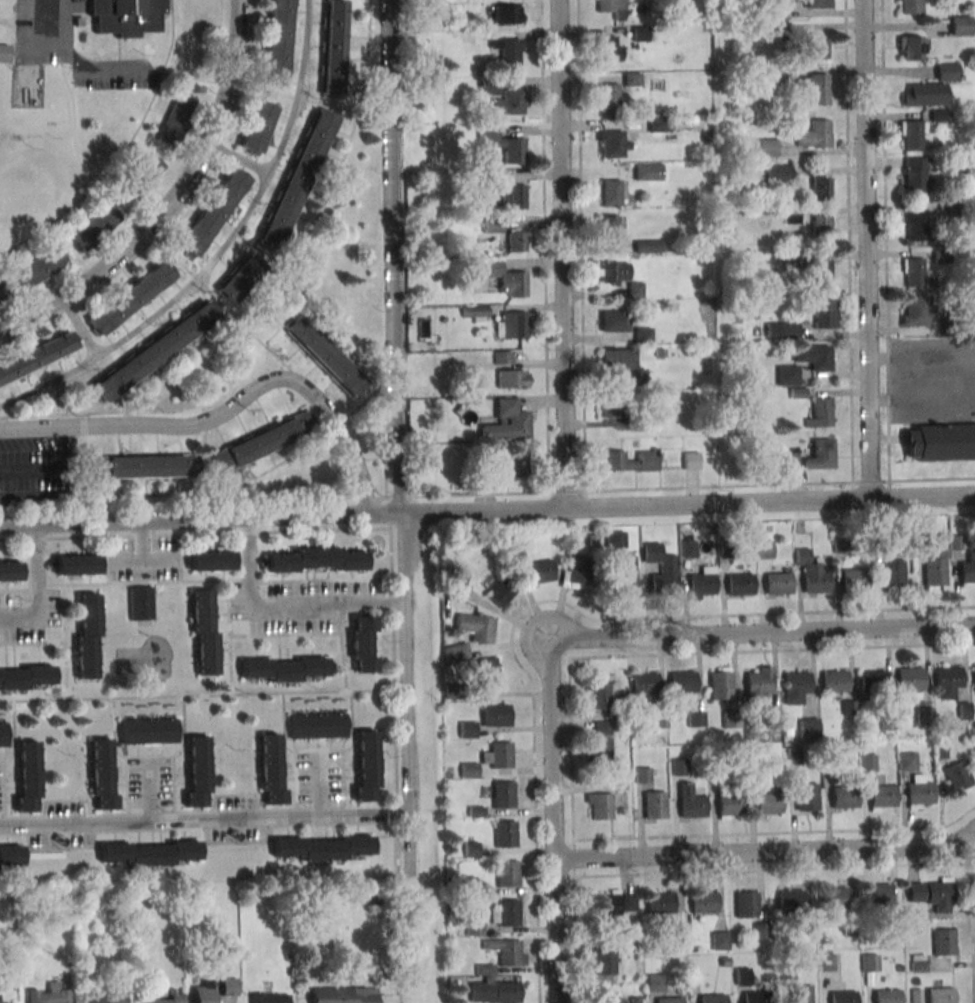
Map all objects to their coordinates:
building: (817, 4)
building: (610, 7)
building: (910, 7)
building: (507, 13)
building: (125, 16)
building: (960, 25)
building: (277, 42)
building: (608, 47)
building: (332, 48)
building: (910, 48)
building: (817, 49)
building: (4, 53)
building: (509, 53)
road: (76, 62)
building: (772, 76)
building: (931, 87)
building: (817, 92)
building: (609, 98)
building: (511, 101)
building: (176, 120)
building: (257, 127)
building: (818, 134)
building: (910, 135)
park: (52, 139)
building: (504, 144)
building: (612, 144)
building: (765, 147)
road: (237, 159)
building: (150, 168)
building: (647, 172)
building: (779, 172)
building: (912, 172)
building: (296, 179)
building: (820, 188)
building: (610, 192)
building: (513, 197)
road: (170, 201)
building: (213, 213)
building: (492, 224)
building: (95, 225)
building: (915, 228)
building: (609, 229)
building: (820, 230)
building: (518, 241)
building: (648, 246)
road: (867, 249)
road: (218, 251)
road: (563, 253)
building: (41, 266)
building: (913, 273)
building: (820, 274)
building: (509, 280)
building: (131, 297)
building: (0, 299)
building: (912, 310)
building: (476, 313)
building: (824, 315)
building: (614, 321)
building: (513, 324)
road: (83, 326)
building: (782, 330)
building: (643, 336)
building: (154, 354)
building: (324, 355)
building: (503, 357)
building: (812, 357)
road: (922, 358)
building: (38, 359)
building: (624, 365)
building: (787, 375)
building: (512, 379)
road: (922, 399)
road: (398, 406)
building: (612, 408)
road: (228, 411)
building: (821, 412)
building: (507, 422)
building: (264, 441)
building: (940, 444)
building: (821, 454)
building: (790, 460)
building: (628, 461)
building: (513, 464)
building: (145, 466)
road: (34, 474)
road: (672, 503)
road: (184, 518)
building: (615, 539)
building: (764, 549)
road: (143, 556)
building: (317, 560)
building: (211, 561)
road: (129, 562)
building: (78, 565)
building: (10, 571)
building: (540, 571)
building: (967, 572)
building: (579, 573)
building: (893, 573)
building: (934, 573)
building: (854, 580)
building: (625, 582)
building: (816, 582)
building: (778, 584)
building: (460, 585)
building: (663, 585)
building: (701, 585)
building: (740, 585)
road: (38, 588)
building: (500, 592)
building: (140, 602)
road: (283, 607)
road: (786, 613)
building: (476, 627)
building: (203, 632)
road: (763, 632)
building: (86, 636)
building: (362, 644)
road: (772, 650)
building: (456, 653)
building: (282, 668)
building: (488, 672)
building: (974, 676)
building: (25, 677)
building: (948, 678)
building: (910, 680)
building: (834, 682)
building: (872, 682)
building: (682, 683)
building: (644, 684)
building: (720, 687)
building: (757, 687)
building: (795, 688)
building: (600, 695)
building: (964, 713)
building: (496, 715)
building: (924, 715)
building: (696, 719)
building: (317, 726)
building: (809, 727)
building: (468, 730)
building: (147, 731)
building: (3, 735)
building: (601, 748)
building: (794, 754)
building: (501, 756)
building: (907, 761)
building: (867, 762)
building: (365, 765)
building: (679, 766)
building: (270, 768)
building: (196, 771)
building: (100, 773)
building: (643, 775)
building: (958, 775)
building: (26, 776)
road: (319, 786)
road: (149, 792)
building: (920, 794)
building: (503, 796)
building: (807, 796)
building: (882, 796)
building: (844, 797)
building: (767, 804)
building: (655, 805)
building: (730, 805)
building: (599, 806)
building: (692, 808)
road: (203, 820)
road: (554, 824)
road: (571, 830)
road: (535, 833)
road: (776, 833)
building: (505, 835)
building: (320, 847)
building: (471, 849)
road: (765, 851)
building: (148, 853)
building: (10, 857)
road: (841, 867)
building: (507, 875)
building: (467, 885)
building: (932, 895)
building: (877, 896)
building: (834, 898)
building: (790, 901)
building: (703, 903)
building: (659, 904)
building: (747, 904)
building: (605, 906)
building: (508, 914)
building: (474, 928)
building: (761, 930)
building: (720, 940)
building: (944, 941)
building: (508, 954)
building: (603, 962)
building: (827, 962)
building: (870, 963)
building: (919, 963)
building: (743, 976)
building: (655, 982)
building: (228, 987)
building: (204, 992)
building: (495, 992)
building: (801, 993)
building: (49, 995)
building: (344, 995)
building: (941, 995)
building: (610, 996)
building: (756, 996)
building: (843, 996)
building: (887, 996)
building: (105, 997)
building: (171, 997)
building: (270, 998)
building: (712, 998)
building: (669, 999)
building: (635, 1000)

